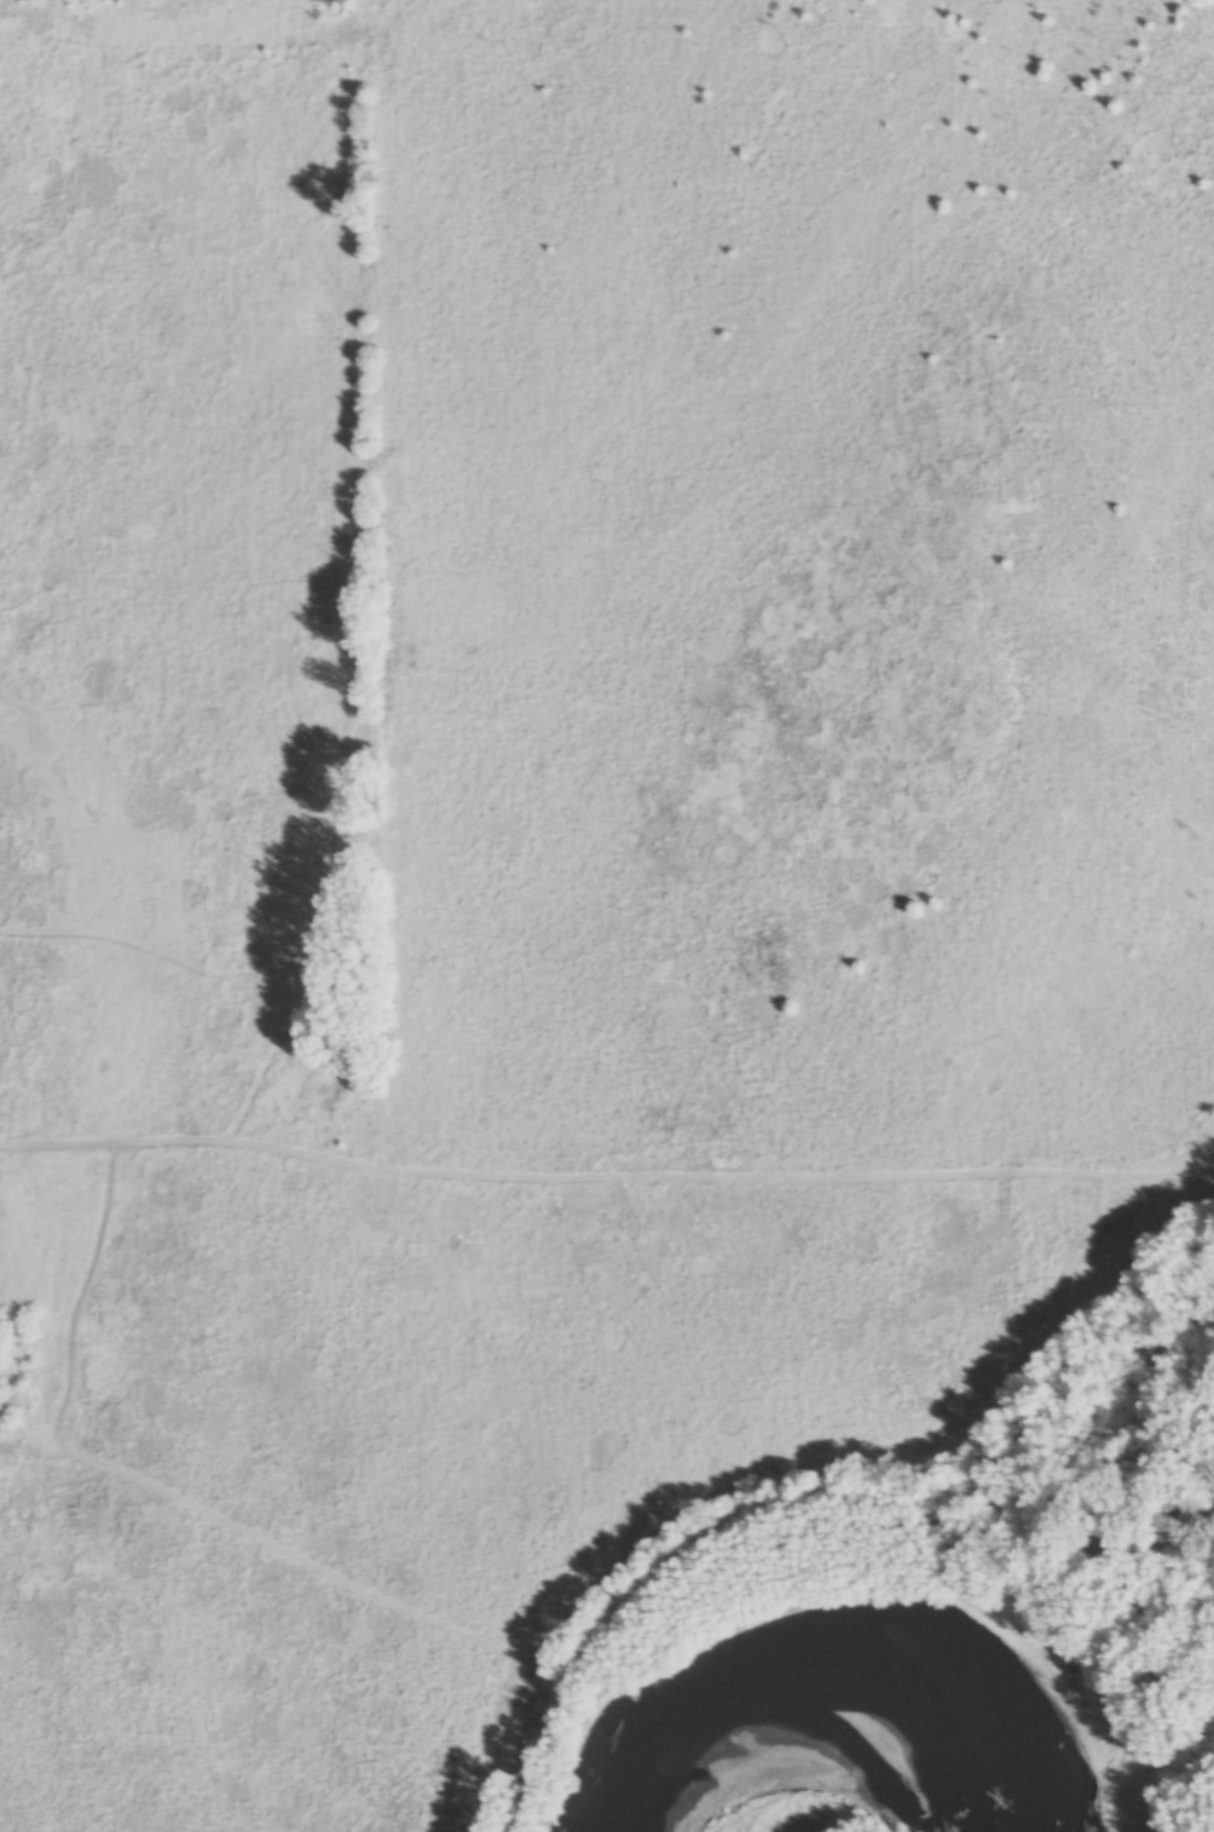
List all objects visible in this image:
river: (877, 1688)

